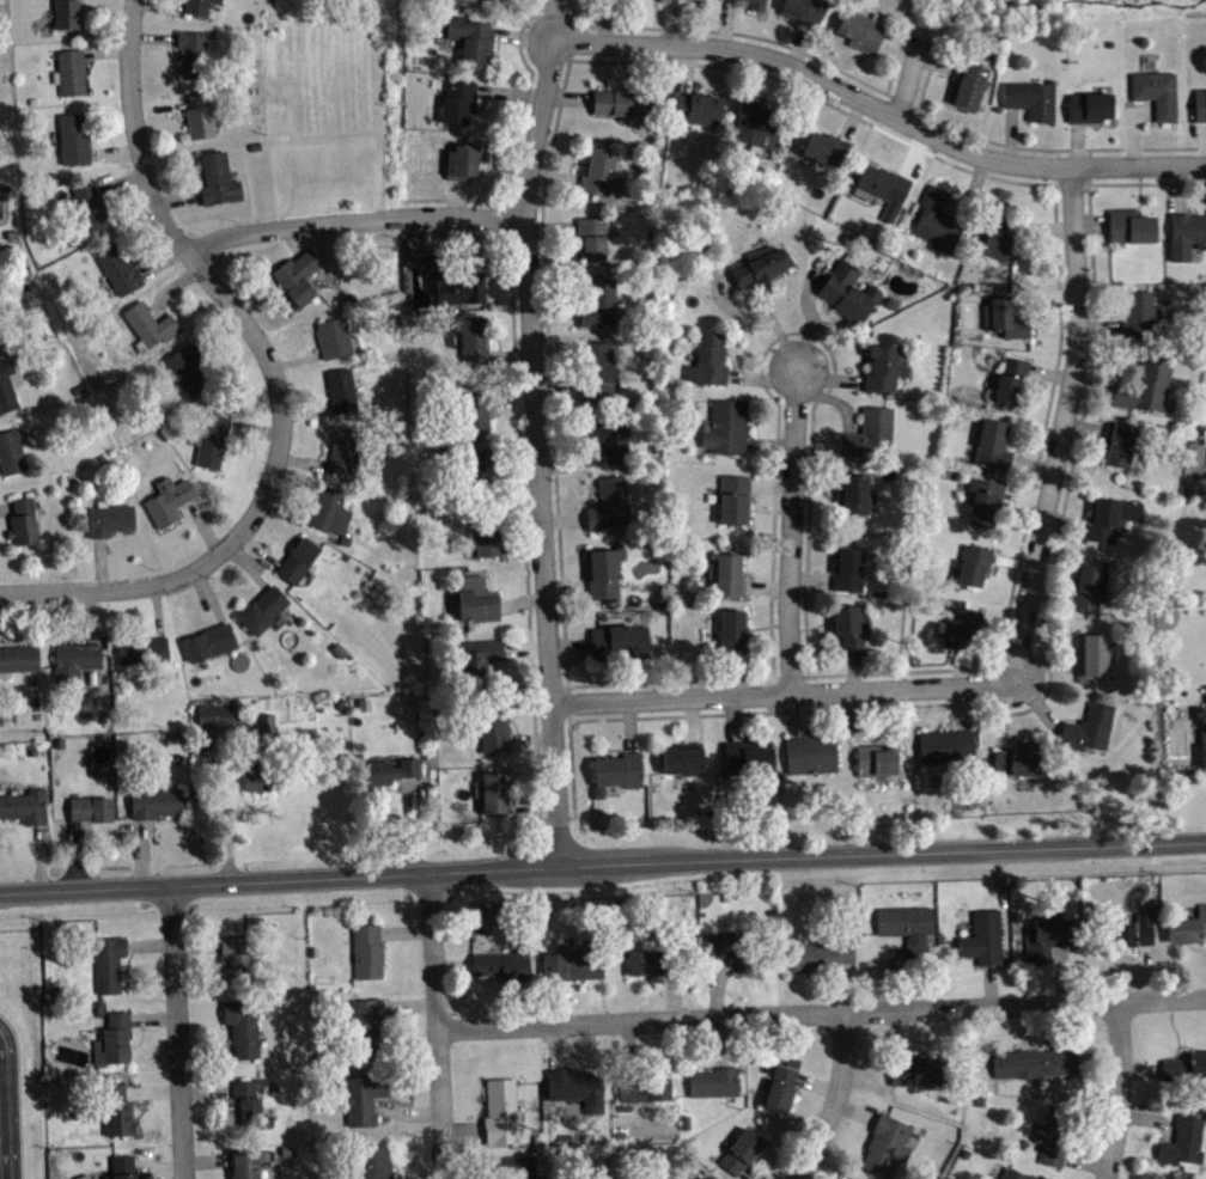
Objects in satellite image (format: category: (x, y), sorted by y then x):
building: (668, 0)
building: (493, 2)
road: (164, 4)
building: (756, 5)
building: (197, 6)
building: (803, 10)
building: (66, 14)
road: (544, 22)
road: (553, 22)
road: (604, 22)
road: (666, 23)
road: (724, 23)
road: (699, 28)
building: (860, 29)
road: (152, 36)
road: (525, 36)
building: (471, 38)
road: (799, 44)
building: (193, 49)
road: (564, 50)
road: (104, 51)
road: (894, 51)
road: (895, 61)
road: (934, 61)
road: (683, 68)
building: (69, 69)
road: (927, 73)
road: (757, 75)
road: (907, 75)
building: (966, 84)
road: (508, 91)
building: (1155, 92)
road: (562, 94)
road: (567, 97)
building: (458, 98)
road: (817, 98)
building: (622, 99)
road: (902, 99)
building: (1029, 99)
road: (159, 103)
building: (1200, 104)
building: (695, 105)
building: (1088, 105)
road: (881, 109)
building: (199, 114)
road: (851, 117)
road: (520, 118)
building: (754, 121)
road: (1132, 126)
road: (1009, 134)
building: (73, 136)
road: (1074, 141)
road: (1204, 141)
building: (826, 146)
road: (1054, 148)
road: (114, 152)
road: (913, 152)
building: (462, 157)
road: (1088, 165)
building: (601, 170)
road: (554, 175)
building: (215, 177)
road: (120, 178)
building: (883, 181)
road: (1146, 182)
road: (1177, 187)
road: (971, 188)
road: (1070, 188)
road: (455, 196)
road: (177, 197)
road: (470, 200)
road: (524, 201)
road: (1088, 204)
building: (90, 206)
road: (354, 218)
building: (936, 218)
road: (1089, 225)
building: (1129, 225)
road: (550, 226)
road: (1038, 227)
building: (1186, 232)
building: (997, 233)
road: (434, 234)
road: (471, 234)
building: (592, 234)
road: (292, 238)
road: (162, 259)
building: (759, 263)
building: (118, 265)
building: (297, 274)
building: (452, 280)
road: (170, 287)
building: (847, 289)
road: (218, 291)
road: (1040, 295)
building: (597, 300)
road: (757, 310)
building: (1139, 312)
road: (810, 313)
road: (553, 314)
building: (1004, 316)
building: (148, 324)
road: (1098, 325)
road: (797, 331)
building: (334, 336)
building: (474, 338)
road: (510, 354)
building: (707, 358)
road: (230, 360)
road: (296, 360)
building: (883, 366)
building: (187, 368)
building: (596, 368)
road: (1047, 372)
road: (761, 378)
road: (829, 378)
building: (1007, 378)
building: (1146, 383)
building: (6, 385)
building: (341, 387)
road: (1090, 387)
road: (556, 390)
road: (828, 397)
road: (513, 399)
road: (552, 408)
road: (306, 410)
building: (474, 410)
road: (1061, 423)
building: (725, 424)
road: (1083, 424)
road: (1043, 426)
road: (254, 428)
building: (869, 430)
building: (605, 435)
building: (209, 438)
building: (992, 441)
building: (1119, 441)
road: (768, 442)
building: (343, 450)
road: (537, 451)
building: (11, 452)
road: (301, 459)
road: (572, 463)
road: (1031, 464)
building: (471, 470)
road: (511, 478)
road: (814, 482)
road: (770, 484)
building: (853, 493)
building: (167, 497)
building: (733, 499)
building: (983, 499)
road: (1023, 500)
building: (608, 502)
road: (6, 506)
road: (285, 507)
building: (330, 511)
building: (1110, 515)
building: (108, 517)
road: (517, 517)
road: (562, 518)
building: (22, 521)
road: (523, 521)
road: (203, 525)
road: (1065, 526)
road: (790, 530)
building: (483, 533)
road: (258, 549)
building: (297, 558)
road: (1013, 561)
building: (973, 562)
road: (99, 563)
road: (246, 566)
building: (846, 567)
building: (603, 569)
building: (726, 572)
road: (810, 579)
building: (1088, 585)
road: (766, 586)
road: (566, 588)
road: (104, 589)
road: (1050, 593)
road: (211, 594)
building: (475, 598)
road: (520, 600)
building: (262, 607)
road: (157, 610)
road: (89, 616)
building: (961, 624)
building: (849, 628)
building: (731, 631)
building: (209, 640)
building: (619, 640)
road: (524, 647)
building: (141, 648)
road: (568, 648)
building: (1094, 654)
building: (18, 656)
building: (477, 658)
building: (74, 659)
road: (1043, 661)
road: (962, 665)
road: (901, 670)
road: (852, 671)
road: (737, 676)
road: (790, 676)
road: (669, 682)
road: (782, 692)
road: (767, 694)
road: (1042, 697)
road: (567, 703)
road: (1038, 704)
road: (962, 705)
building: (1202, 711)
road: (1000, 713)
road: (792, 714)
building: (214, 715)
road: (732, 717)
road: (851, 717)
road: (692, 719)
building: (1205, 720)
building: (264, 723)
building: (492, 723)
road: (628, 723)
building: (1088, 726)
road: (529, 738)
building: (945, 745)
building: (1202, 749)
building: (810, 753)
building: (682, 757)
building: (745, 757)
building: (873, 758)
building: (1015, 758)
building: (389, 768)
building: (619, 768)
road: (571, 771)
building: (395, 777)
building: (255, 780)
building: (260, 788)
building: (495, 790)
building: (154, 800)
road: (531, 800)
building: (24, 805)
building: (89, 806)
road: (227, 818)
road: (549, 818)
road: (409, 824)
road: (140, 850)
road: (75, 853)
road: (38, 856)
road: (602, 861)
building: (903, 918)
building: (1187, 923)
road: (17, 928)
building: (1123, 929)
road: (403, 930)
building: (1046, 933)
building: (1147, 935)
building: (981, 936)
road: (148, 943)
road: (196, 945)
building: (732, 946)
building: (366, 948)
building: (915, 952)
building: (820, 955)
building: (237, 957)
building: (652, 959)
building: (106, 961)
road: (451, 963)
building: (502, 963)
building: (572, 964)
road: (1144, 971)
road: (1061, 973)
road: (881, 975)
road: (989, 984)
road: (717, 985)
road: (846, 986)
road: (672, 995)
road: (595, 1000)
road: (408, 1006)
road: (821, 1012)
road: (152, 1018)
building: (242, 1024)
building: (366, 1024)
road: (435, 1025)
road: (176, 1031)
road: (897, 1034)
building: (112, 1039)
road: (725, 1041)
road: (554, 1046)
road: (626, 1049)
road: (205, 1050)
road: (1097, 1056)
building: (1033, 1061)
building: (1184, 1065)
building: (916, 1068)
road: (1140, 1069)
building: (713, 1080)
road: (815, 1085)
building: (575, 1086)
building: (641, 1087)
building: (779, 1087)
road: (206, 1088)
road: (152, 1089)
road: (1120, 1091)
building: (361, 1095)
road: (12, 1098)
road: (834, 1101)
parking lot: (8, 1105)
building: (248, 1105)
road: (4, 1106)
building: (115, 1108)
building: (499, 1110)
road: (854, 1111)
road: (406, 1112)
road: (1149, 1117)
road: (462, 1131)
building: (1050, 1134)
building: (1181, 1140)
building: (885, 1144)
building: (739, 1148)
road: (207, 1159)
building: (248, 1161)
building: (372, 1161)
road: (1084, 1162)
building: (122, 1166)
road: (157, 1166)
building: (514, 1167)
road: (824, 1167)
road: (745, 1173)
building: (1016, 1173)
building: (686, 1178)
building: (700, 1178)
building: (852, 1178)

